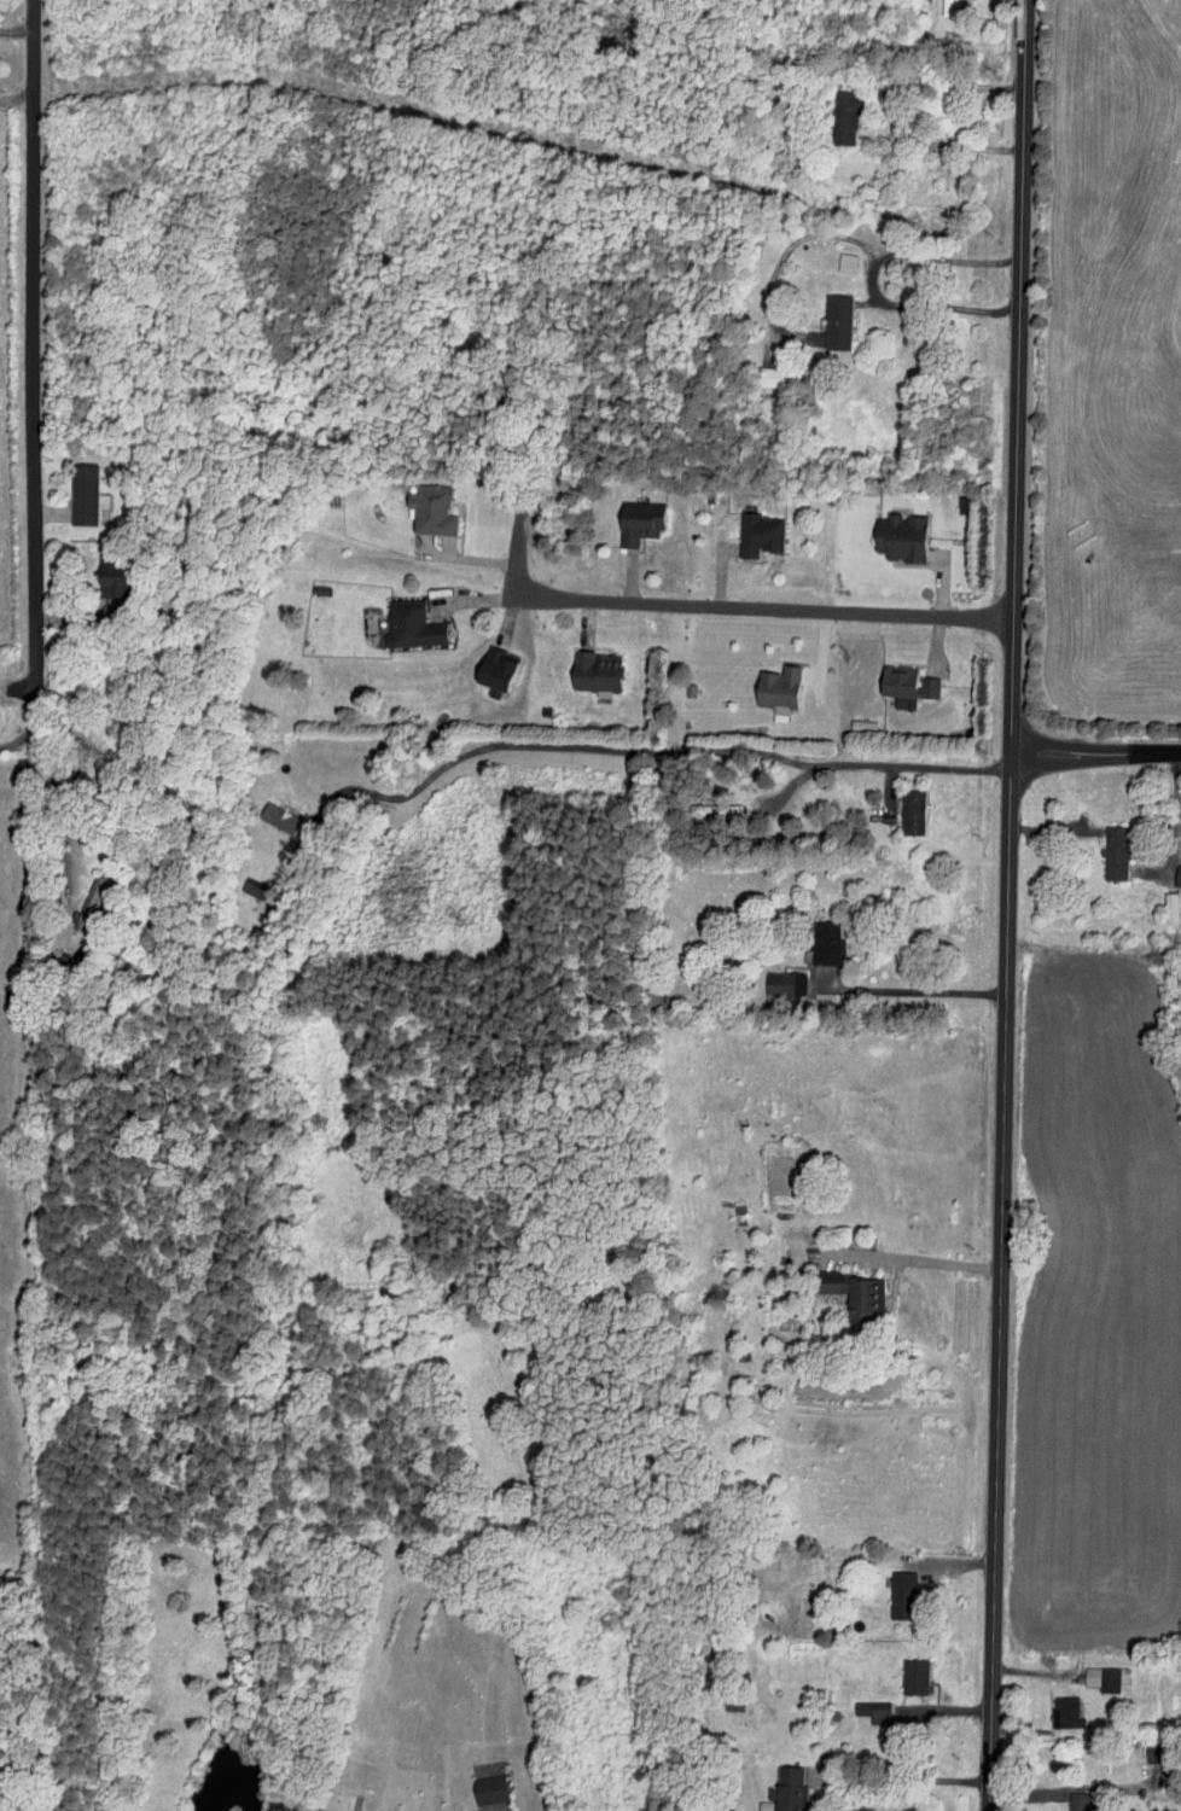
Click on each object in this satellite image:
road: (17, 25)
road: (16, 100)
building: (847, 117)
road: (949, 145)
road: (872, 278)
building: (836, 324)
road: (34, 353)
building: (81, 499)
building: (431, 511)
building: (636, 530)
building: (757, 535)
building: (897, 538)
road: (518, 561)
building: (107, 580)
road: (490, 599)
road: (766, 605)
building: (409, 625)
building: (592, 672)
building: (903, 687)
building: (775, 689)
road: (25, 734)
road: (647, 747)
road: (1095, 753)
building: (911, 811)
building: (278, 817)
building: (1115, 850)
building: (1176, 875)
building: (89, 896)
road: (1008, 905)
building: (1168, 907)
building: (822, 942)
building: (781, 983)
road: (919, 990)
road: (919, 1262)
building: (854, 1293)
building: (900, 1595)
building: (912, 1676)
building: (1101, 1678)
building: (732, 1706)
building: (872, 1711)
building: (1064, 1711)
building: (485, 1789)
building: (786, 1790)
building: (1074, 1801)

